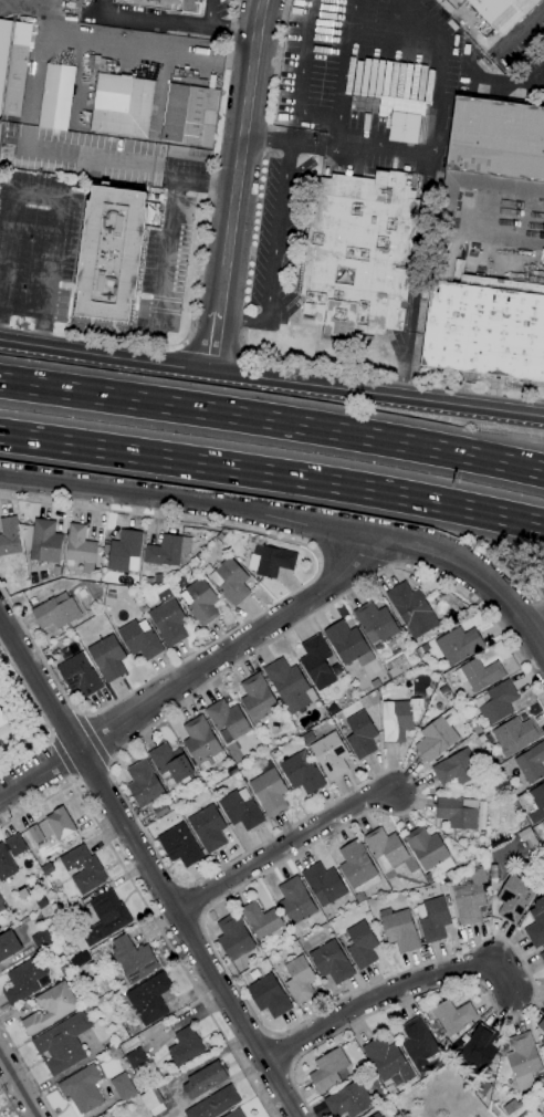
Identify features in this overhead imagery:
road: (6, 2)
building: (166, 4)
building: (502, 11)
road: (209, 12)
road: (40, 18)
road: (172, 21)
building: (3, 49)
road: (342, 73)
road: (385, 75)
parking lot: (372, 81)
road: (296, 82)
building: (14, 90)
road: (34, 92)
building: (56, 97)
road: (406, 98)
building: (369, 104)
building: (122, 105)
building: (191, 113)
road: (326, 113)
building: (404, 127)
road: (433, 131)
road: (276, 142)
building: (492, 154)
road: (238, 186)
road: (56, 197)
road: (542, 217)
road: (275, 231)
parking lot: (273, 232)
road: (420, 244)
parking lot: (38, 248)
road: (166, 251)
building: (111, 253)
building: (359, 253)
parking lot: (165, 265)
road: (243, 319)
building: (485, 326)
road: (404, 364)
road: (271, 379)
road: (272, 422)
road: (272, 474)
road: (187, 502)
building: (9, 537)
building: (45, 542)
building: (80, 549)
building: (167, 550)
building: (125, 551)
road: (354, 556)
building: (271, 561)
building: (197, 563)
road: (472, 572)
building: (148, 581)
building: (230, 581)
road: (540, 595)
road: (282, 597)
building: (200, 602)
building: (411, 609)
building: (55, 612)
building: (168, 620)
road: (535, 620)
building: (375, 623)
building: (139, 639)
building: (345, 641)
building: (458, 645)
building: (65, 650)
building: (107, 655)
building: (315, 659)
building: (397, 666)
building: (479, 674)
building: (79, 676)
road: (195, 677)
building: (375, 683)
building: (290, 686)
building: (258, 697)
building: (495, 702)
road: (41, 717)
building: (2, 719)
building: (227, 719)
building: (397, 722)
road: (64, 727)
building: (477, 729)
building: (360, 734)
building: (437, 735)
building: (515, 735)
road: (92, 740)
building: (201, 744)
building: (329, 754)
road: (61, 755)
building: (171, 763)
building: (531, 763)
road: (88, 769)
building: (457, 769)
building: (302, 773)
road: (73, 780)
building: (143, 783)
building: (269, 790)
building: (522, 800)
building: (537, 803)
building: (171, 805)
building: (241, 810)
building: (160, 811)
building: (457, 812)
road: (389, 813)
building: (61, 825)
building: (208, 828)
building: (35, 834)
building: (180, 846)
road: (286, 846)
building: (385, 848)
building: (428, 849)
building: (477, 852)
building: (7, 865)
road: (149, 865)
building: (357, 867)
building: (92, 870)
building: (429, 877)
building: (324, 881)
building: (23, 892)
building: (470, 897)
building: (1, 898)
building: (513, 898)
road: (187, 901)
building: (295, 901)
building: (1, 906)
road: (149, 914)
building: (105, 918)
building: (261, 919)
building: (432, 919)
building: (536, 923)
building: (400, 930)
building: (20, 936)
building: (234, 937)
building: (41, 940)
building: (8, 944)
building: (360, 946)
building: (542, 956)
building: (134, 959)
building: (332, 962)
building: (24, 980)
building: (299, 980)
road: (397, 991)
building: (269, 995)
building: (149, 999)
building: (50, 1008)
building: (452, 1016)
building: (541, 1025)
building: (130, 1026)
building: (436, 1029)
building: (542, 1040)
building: (63, 1043)
building: (418, 1043)
building: (444, 1043)
building: (185, 1046)
building: (480, 1048)
road: (276, 1052)
building: (135, 1058)
building: (386, 1059)
building: (522, 1059)
building: (327, 1069)
road: (27, 1071)
building: (205, 1079)
road: (19, 1084)
building: (123, 1086)
building: (482, 1086)
building: (82, 1089)
building: (348, 1100)
road: (8, 1102)
building: (153, 1102)
building: (215, 1104)
building: (124, 1107)
building: (234, 1114)
building: (375, 1115)

